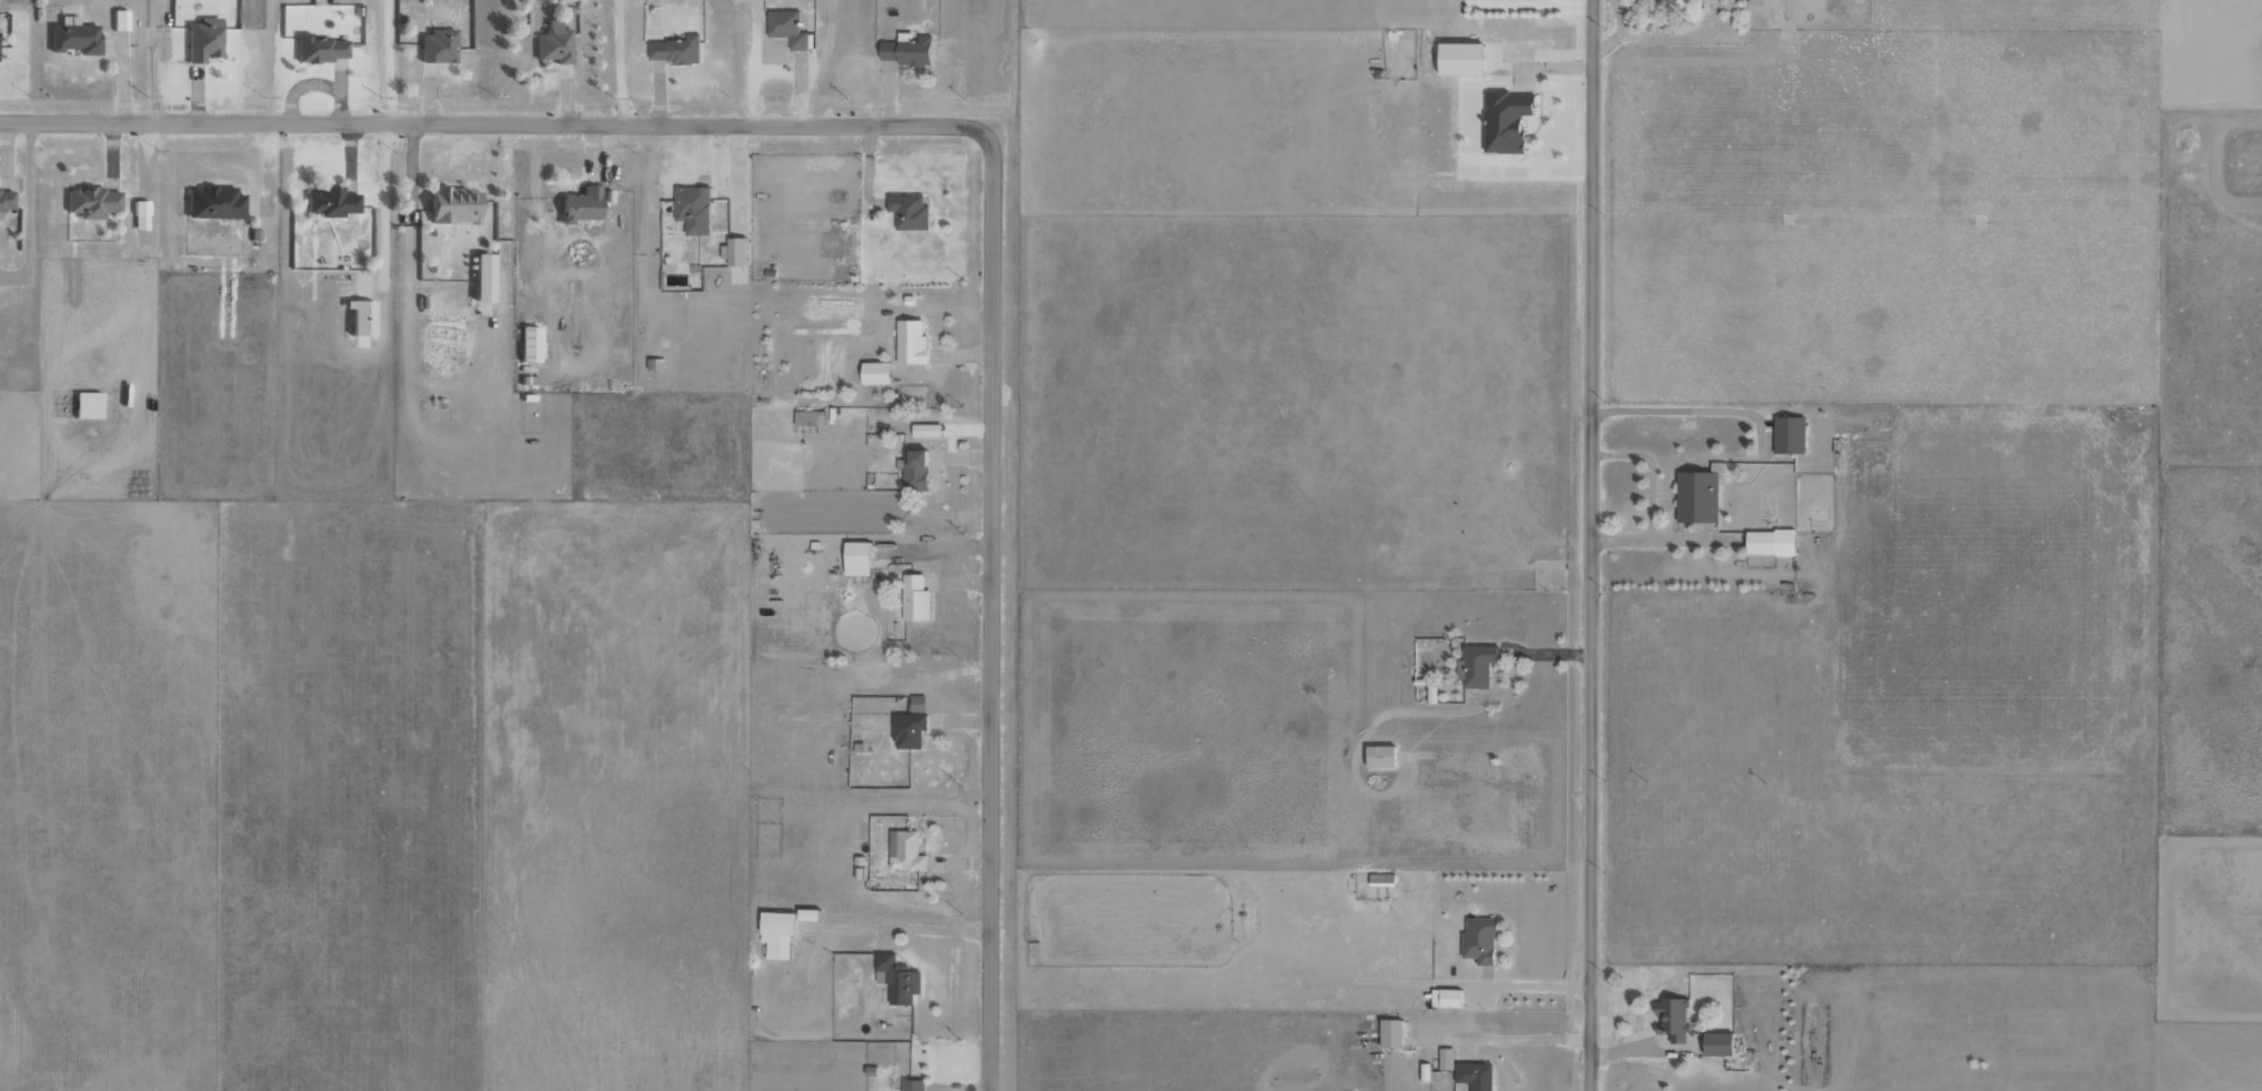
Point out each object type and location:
building: (1671, 1)
building: (1756, 1)
building: (119, 20)
building: (786, 28)
building: (73, 37)
building: (202, 39)
building: (553, 43)
building: (436, 46)
building: (318, 48)
building: (674, 49)
building: (906, 49)
building: (1460, 57)
building: (1505, 120)
road: (496, 125)
building: (6, 200)
building: (90, 202)
building: (330, 202)
building: (213, 203)
building: (452, 203)
building: (579, 204)
building: (693, 208)
building: (908, 211)
building: (140, 214)
building: (734, 251)
building: (481, 277)
building: (359, 316)
building: (911, 342)
building: (527, 344)
building: (875, 372)
building: (86, 405)
building: (810, 417)
building: (926, 430)
building: (1789, 434)
building: (915, 469)
building: (1697, 496)
building: (1770, 542)
road: (1591, 545)
building: (856, 557)
building: (915, 598)
road: (992, 609)
building: (1476, 666)
building: (1430, 694)
building: (917, 704)
building: (908, 729)
building: (1380, 756)
building: (905, 851)
building: (807, 915)
building: (777, 933)
building: (1479, 939)
building: (897, 979)
building: (1446, 998)
building: (1672, 1018)
building: (1391, 1032)
building: (1718, 1043)
building: (1446, 1059)
building: (1475, 1075)
building: (913, 1084)

